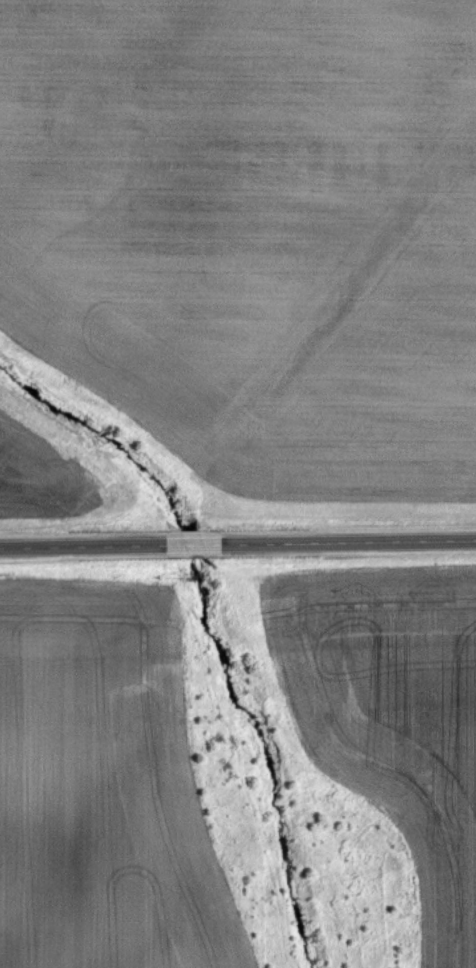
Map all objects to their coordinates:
road: (238, 544)

